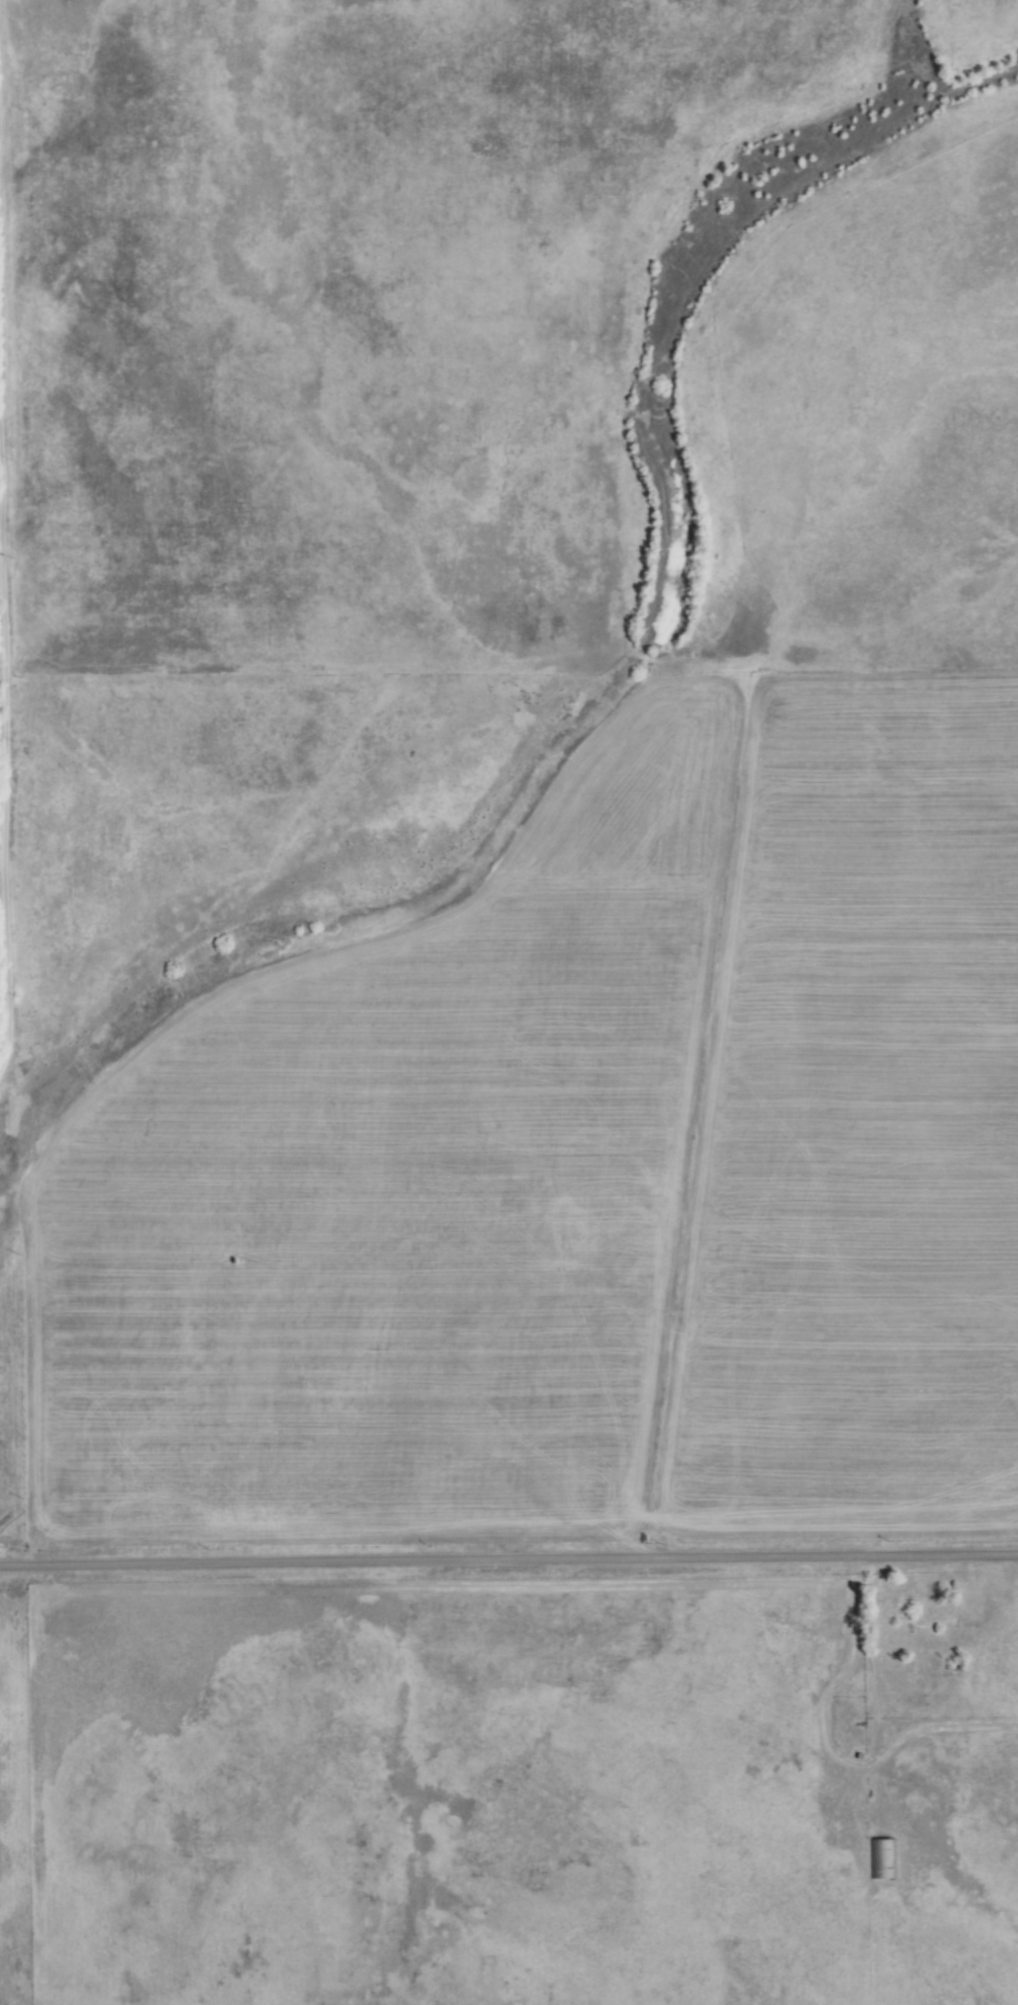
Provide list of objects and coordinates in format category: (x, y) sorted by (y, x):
road: (509, 1559)

